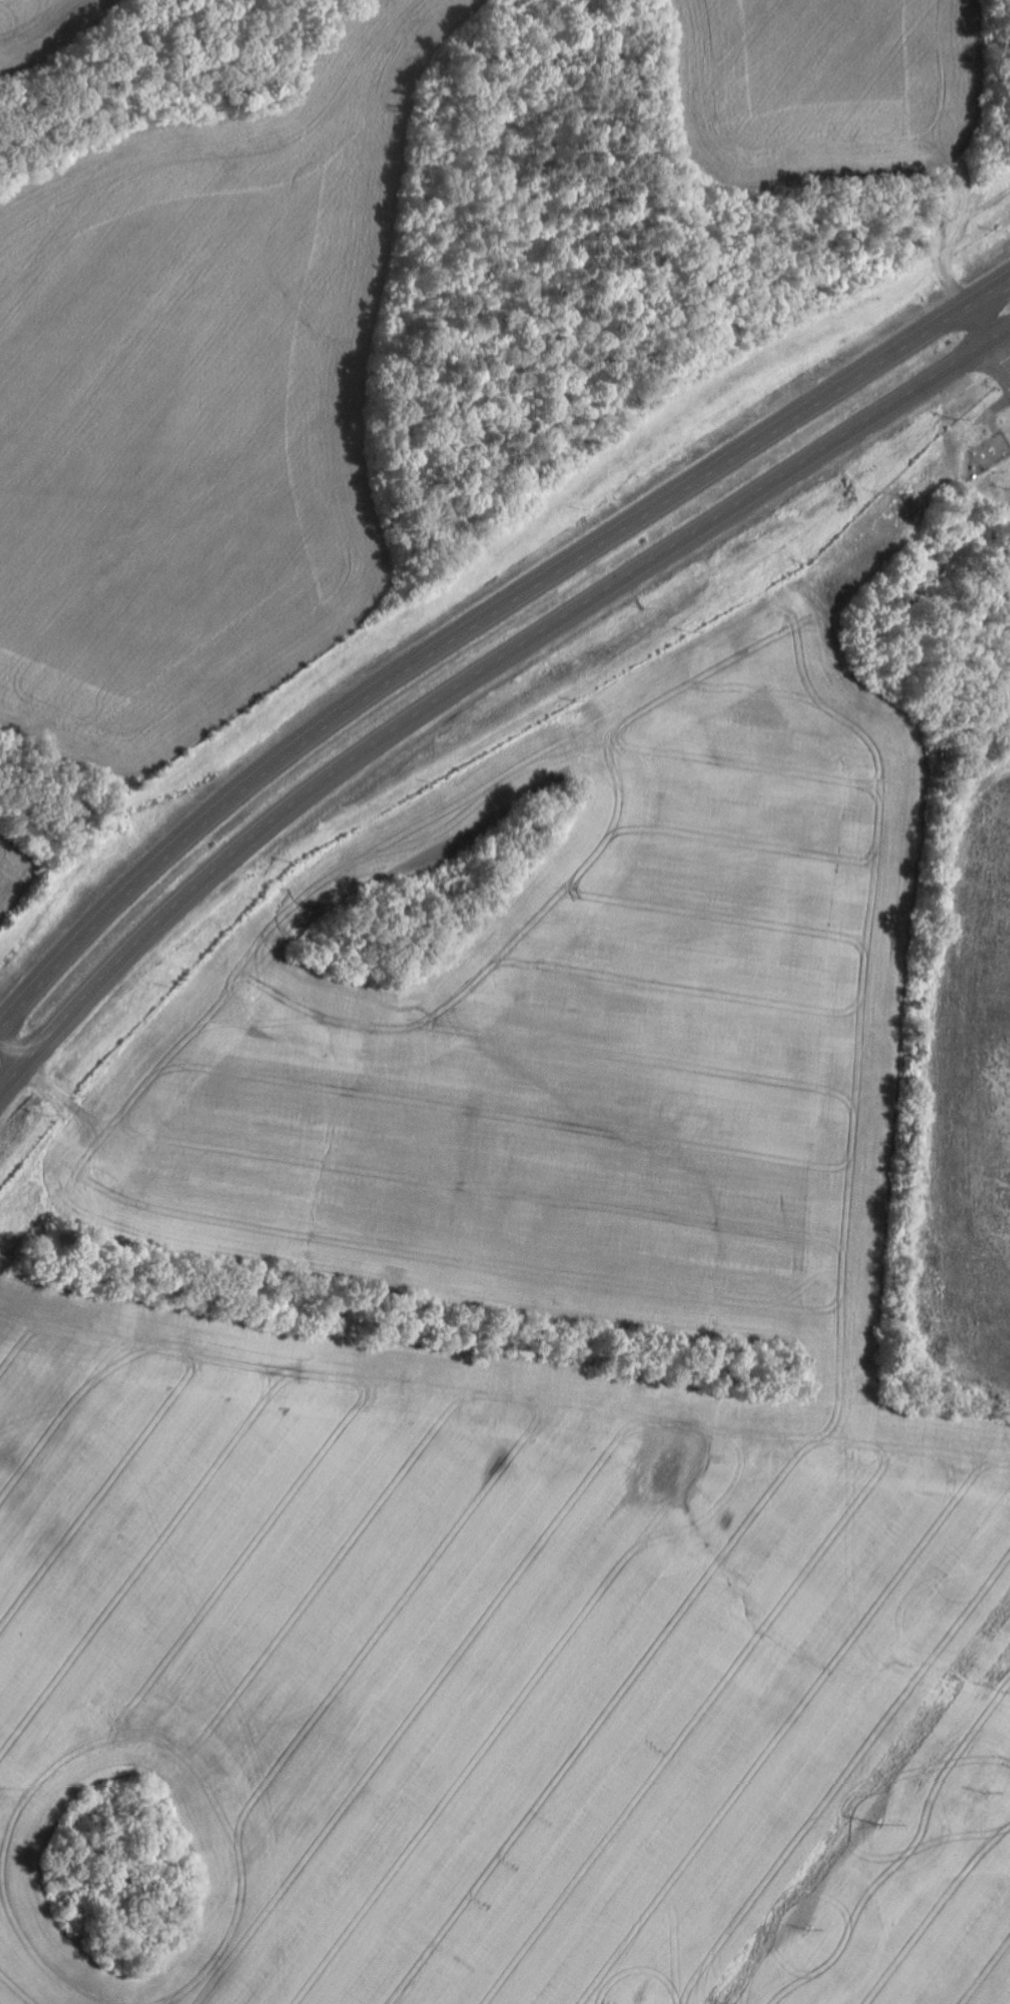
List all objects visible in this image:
road: (983, 352)
road: (479, 621)
road: (475, 681)

